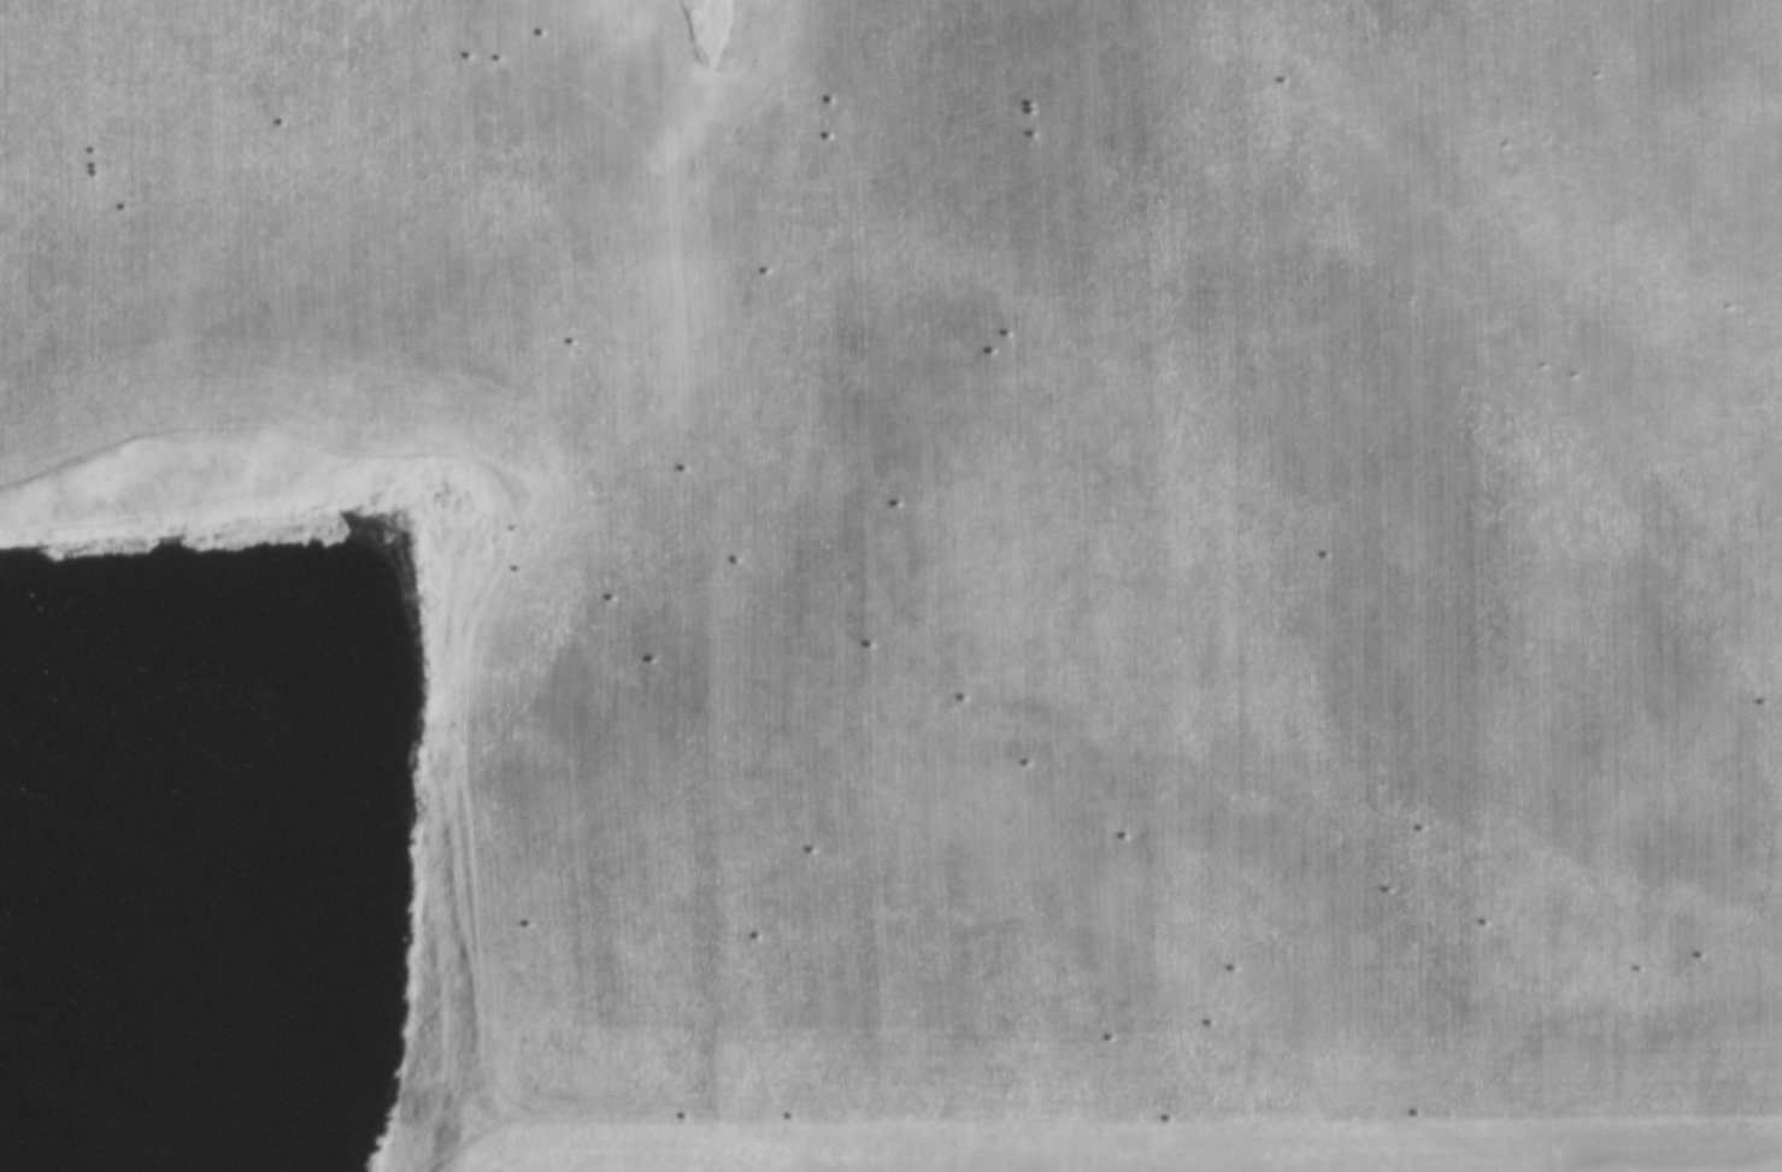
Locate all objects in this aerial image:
crop: (1163, 1143)

